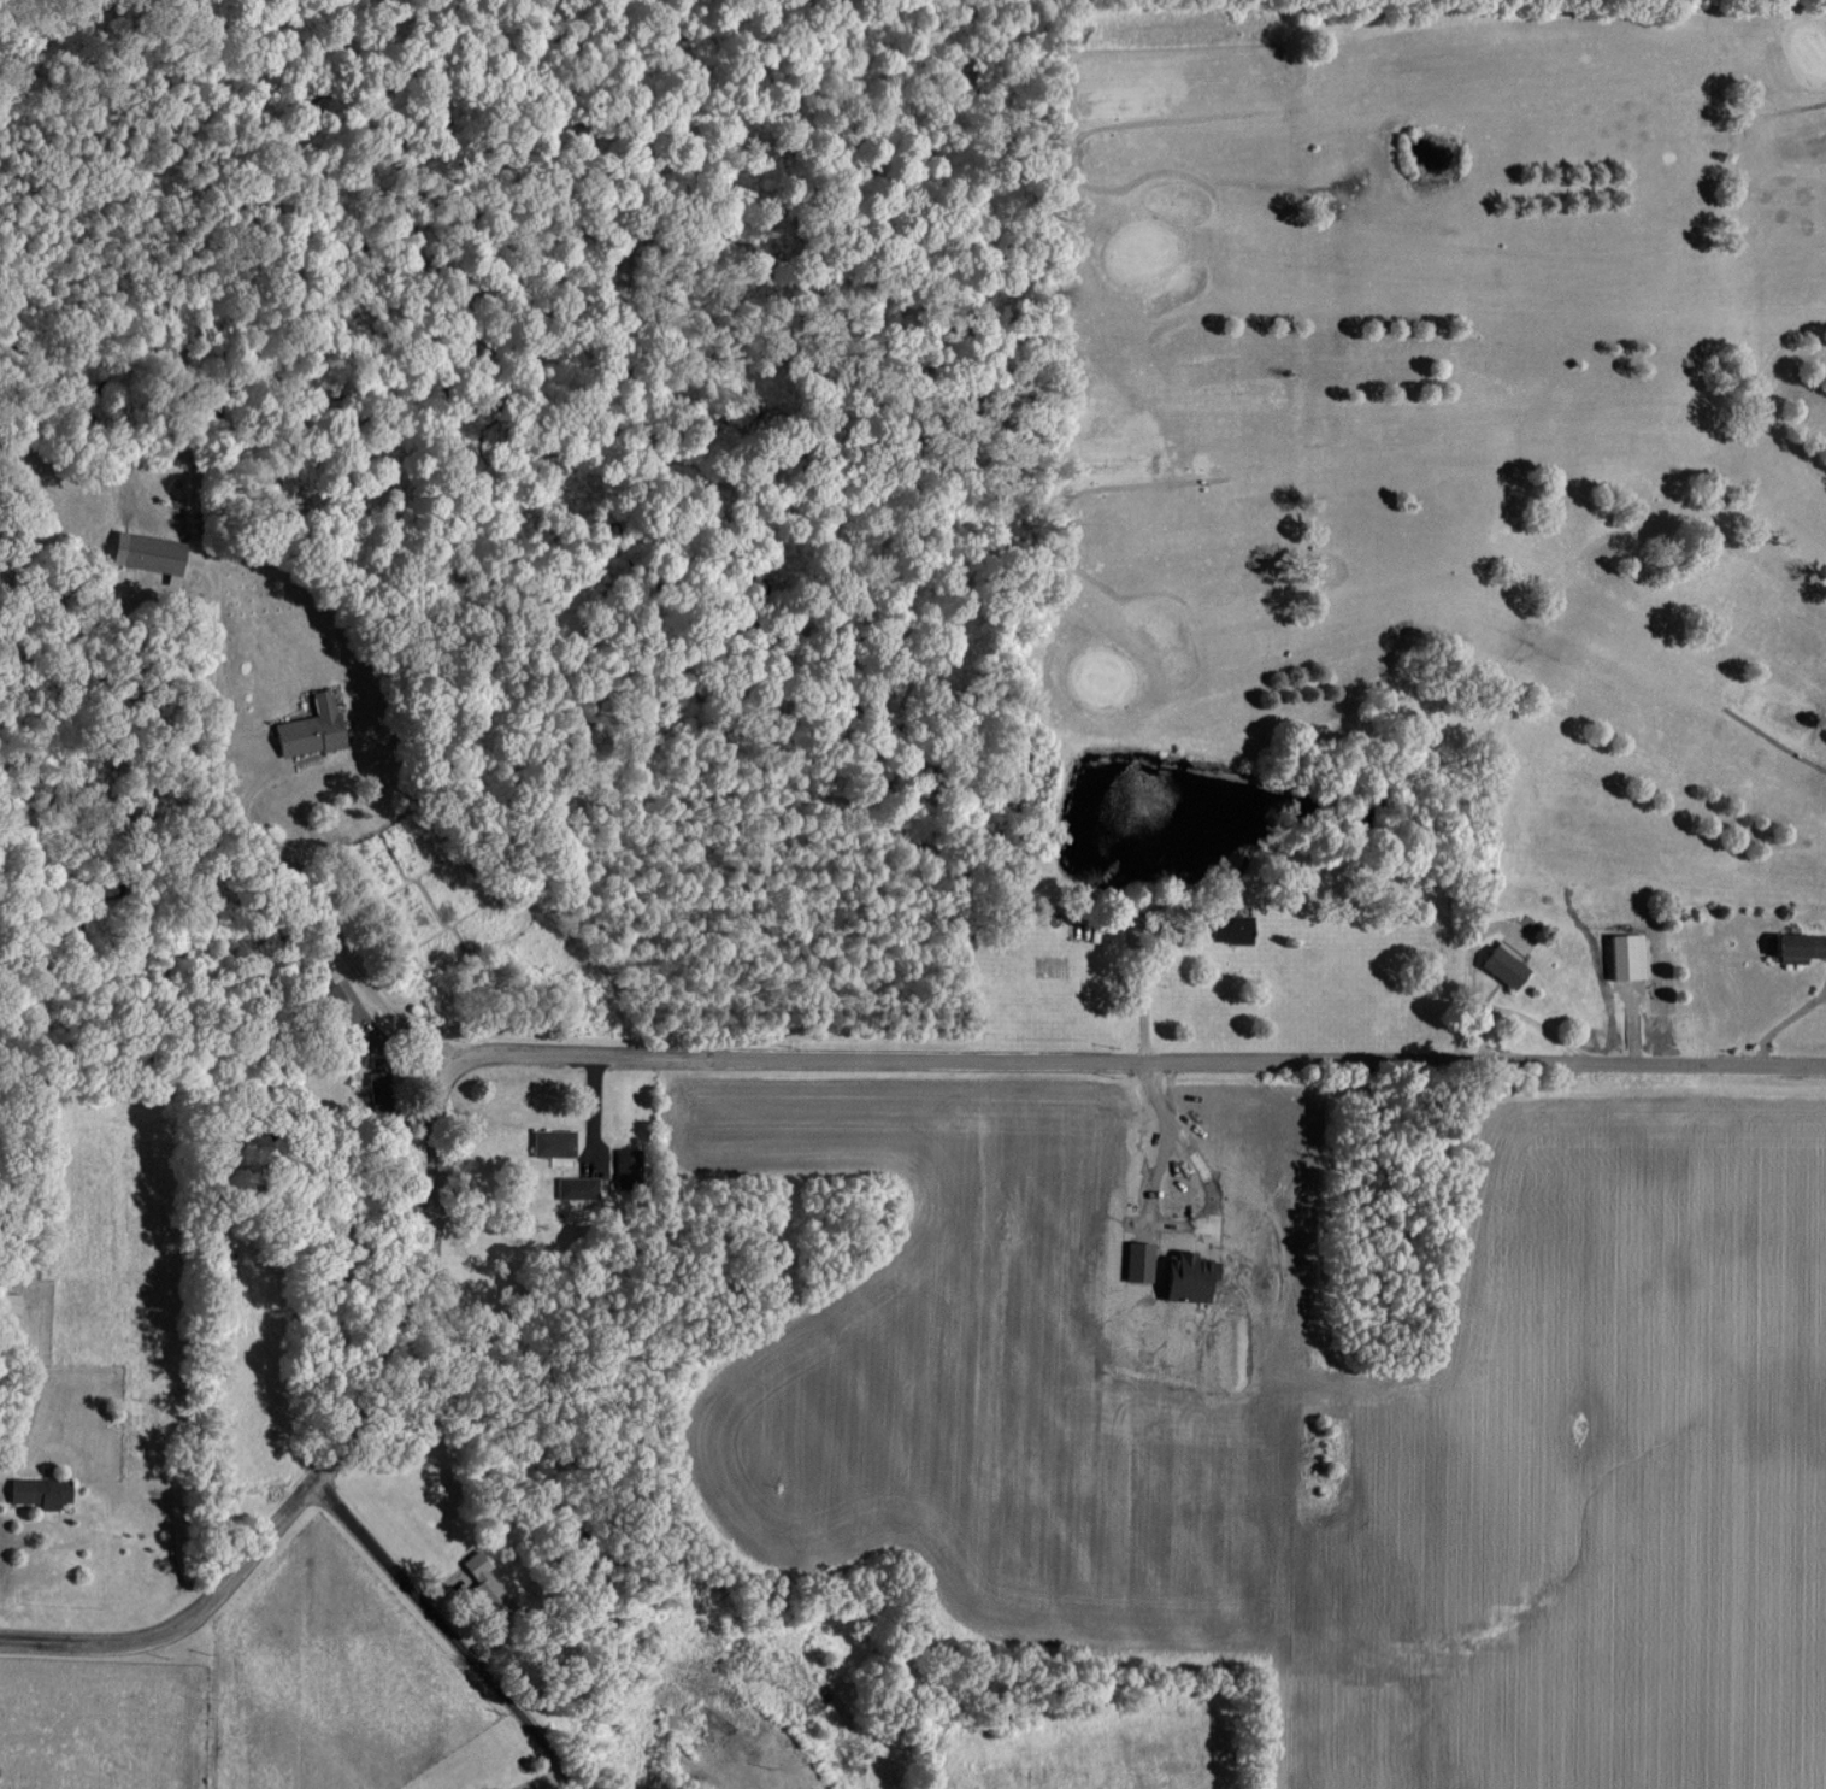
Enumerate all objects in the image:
park: (1426, 499)
building: (154, 553)
road: (245, 723)
building: (317, 725)
building: (1239, 928)
building: (1793, 944)
building: (1621, 954)
building: (1498, 964)
road: (738, 1061)
building: (558, 1142)
building: (631, 1169)
building: (581, 1187)
building: (46, 1490)
building: (477, 1573)
road: (447, 1635)

